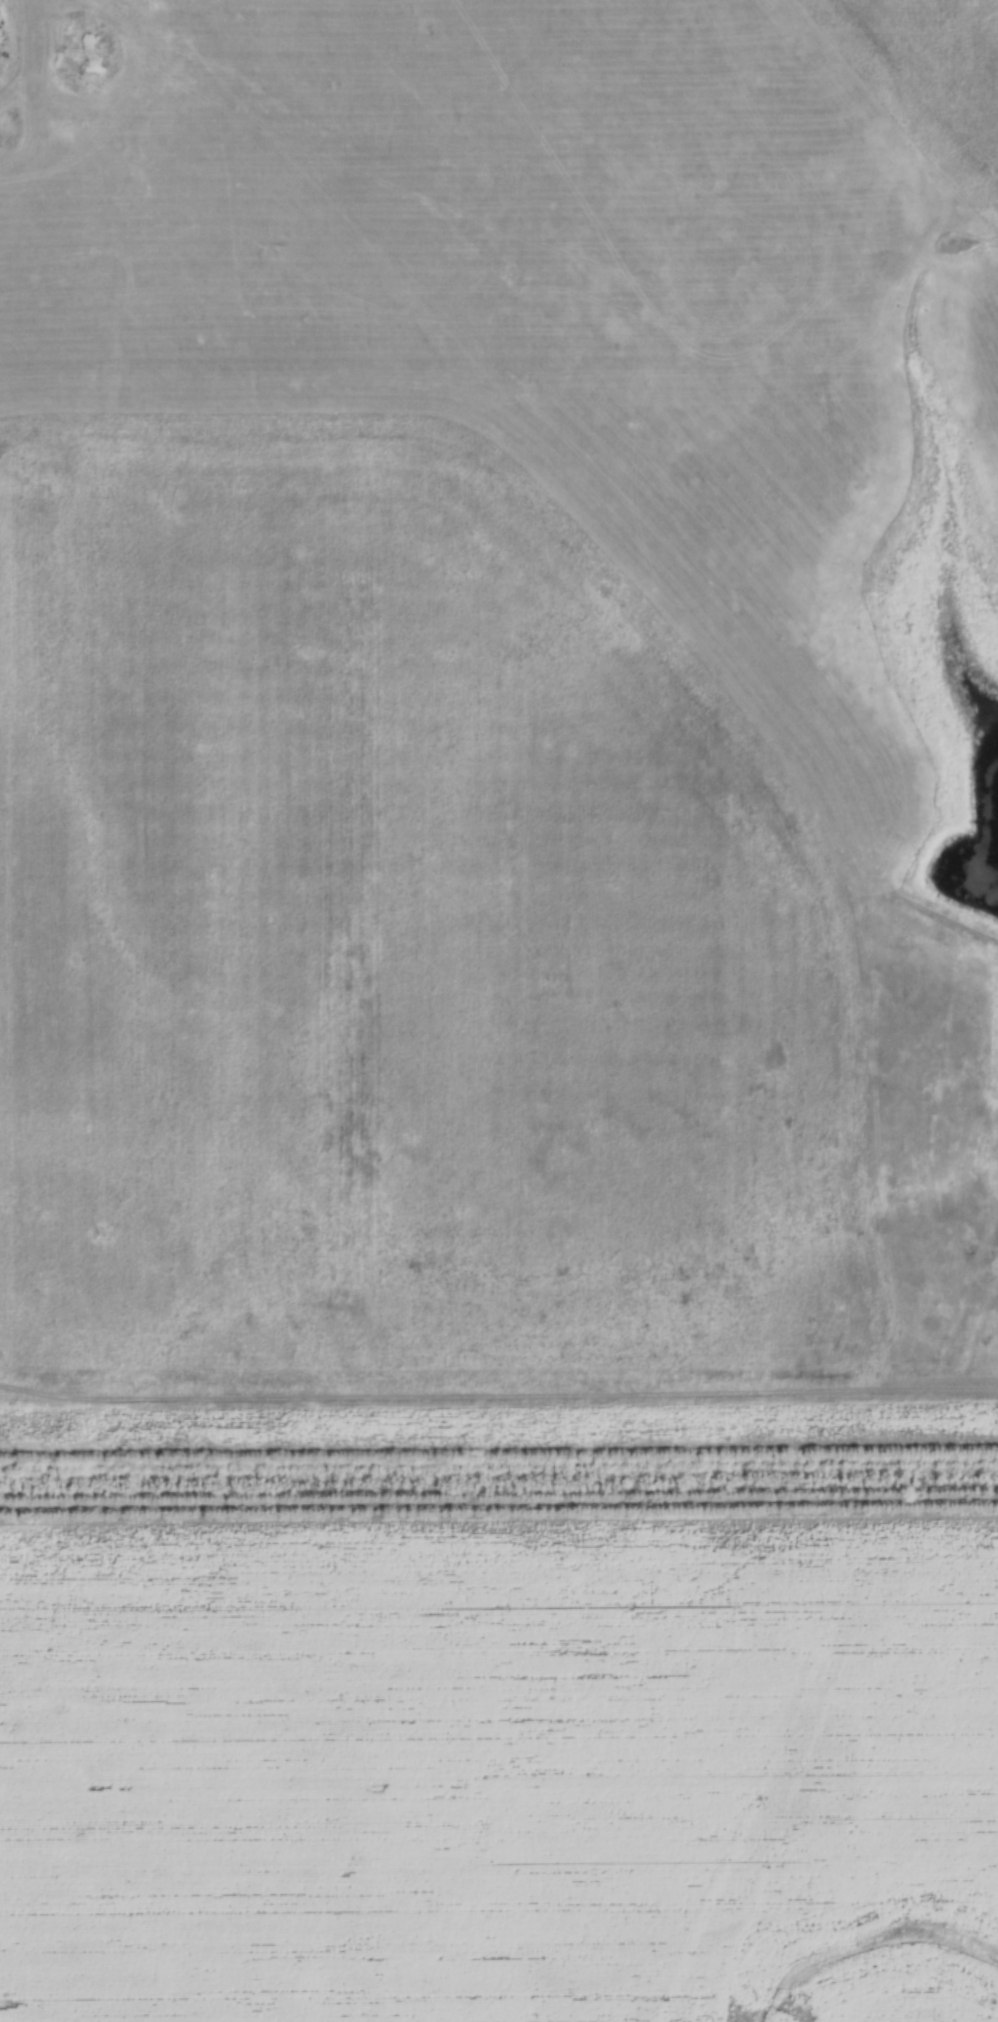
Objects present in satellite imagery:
road: (499, 1388)

